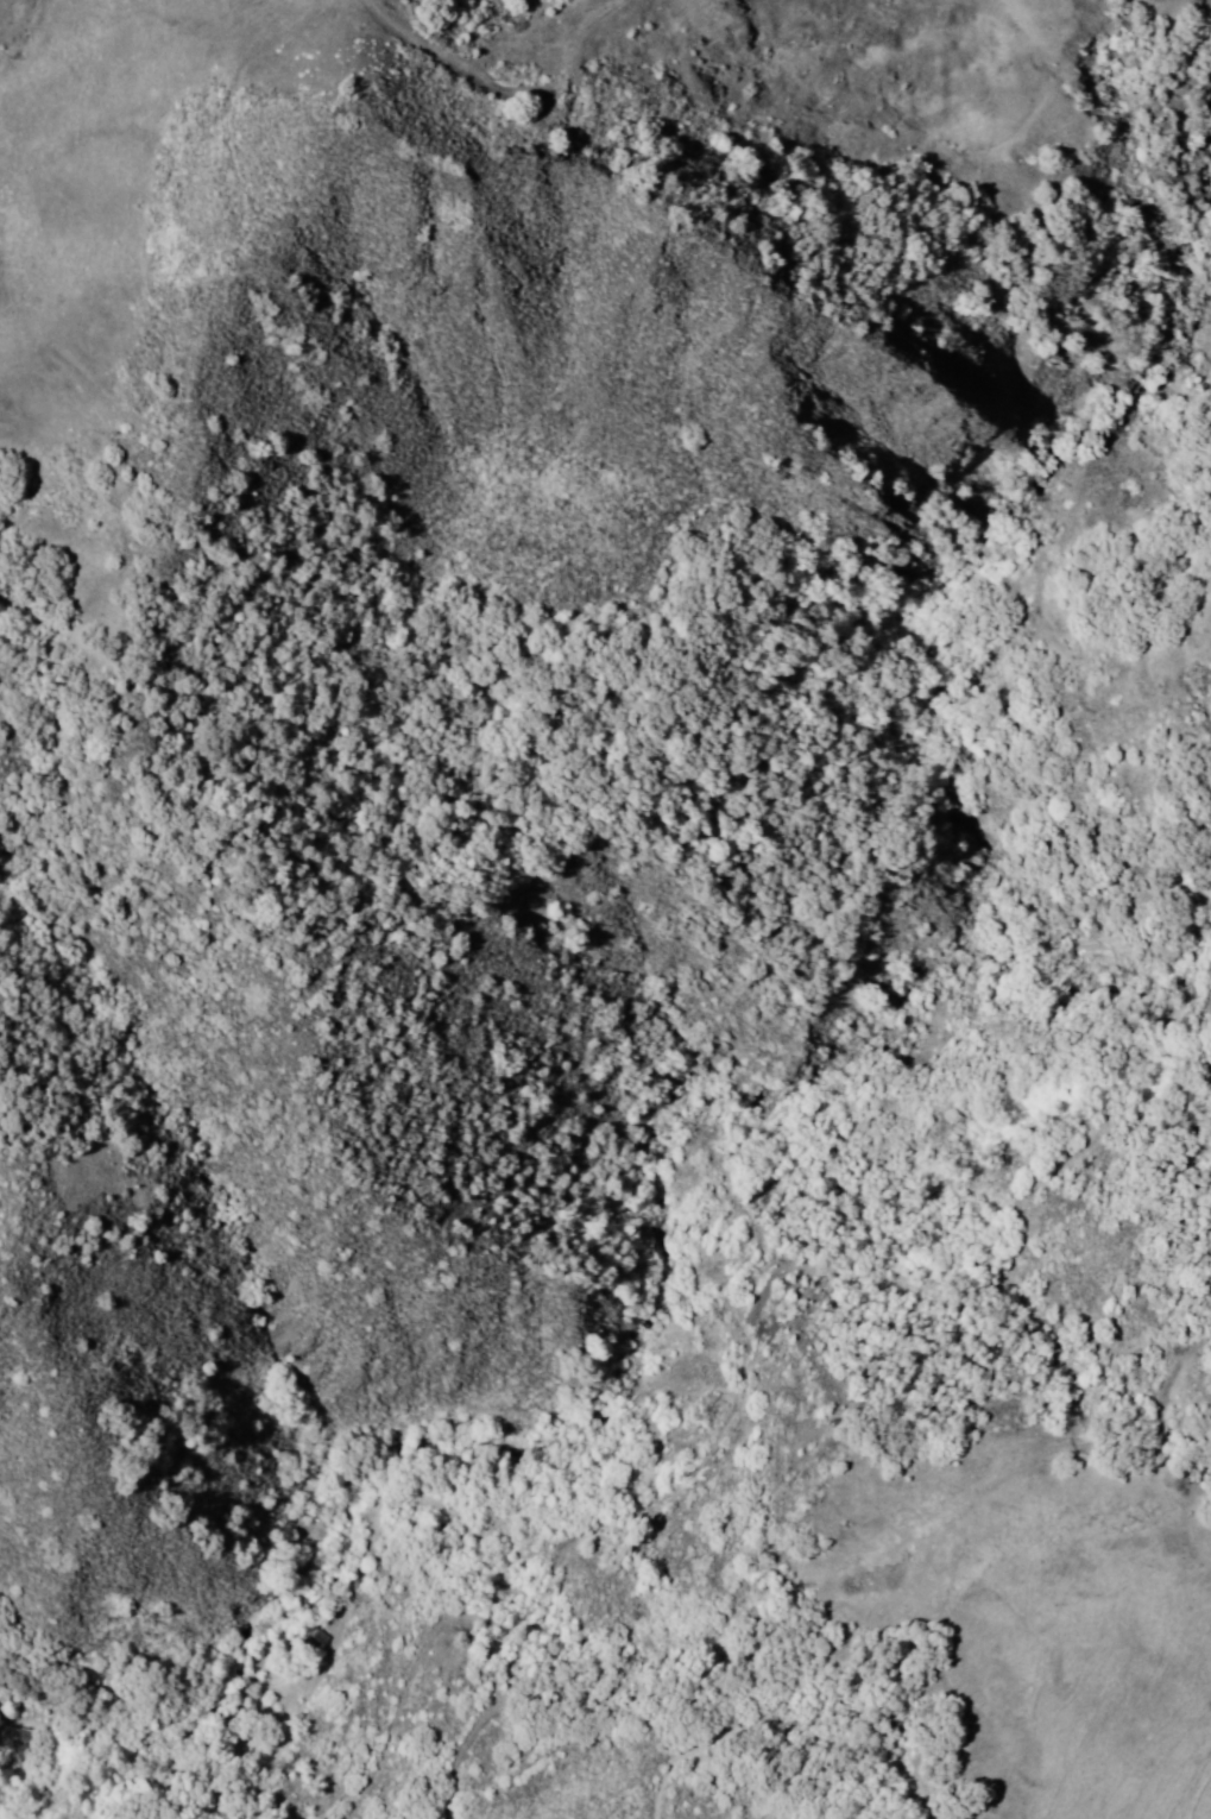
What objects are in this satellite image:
building: (315, 1638)
building: (323, 1639)
building: (25, 1735)
road: (673, 1769)

